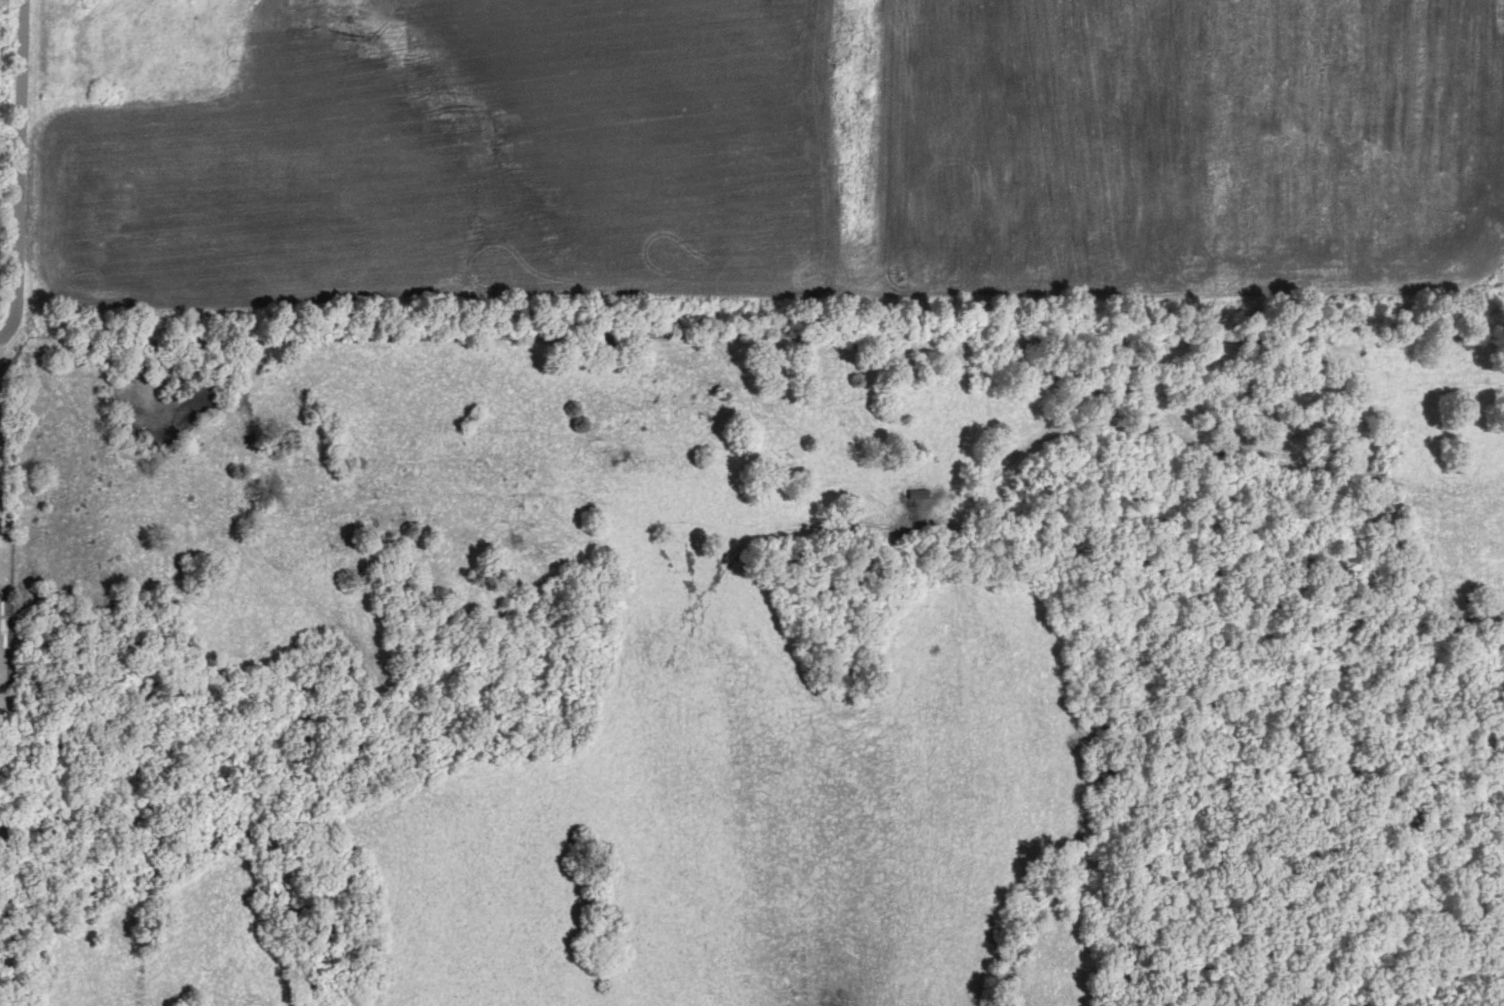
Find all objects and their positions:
road: (19, 170)
building: (919, 490)

